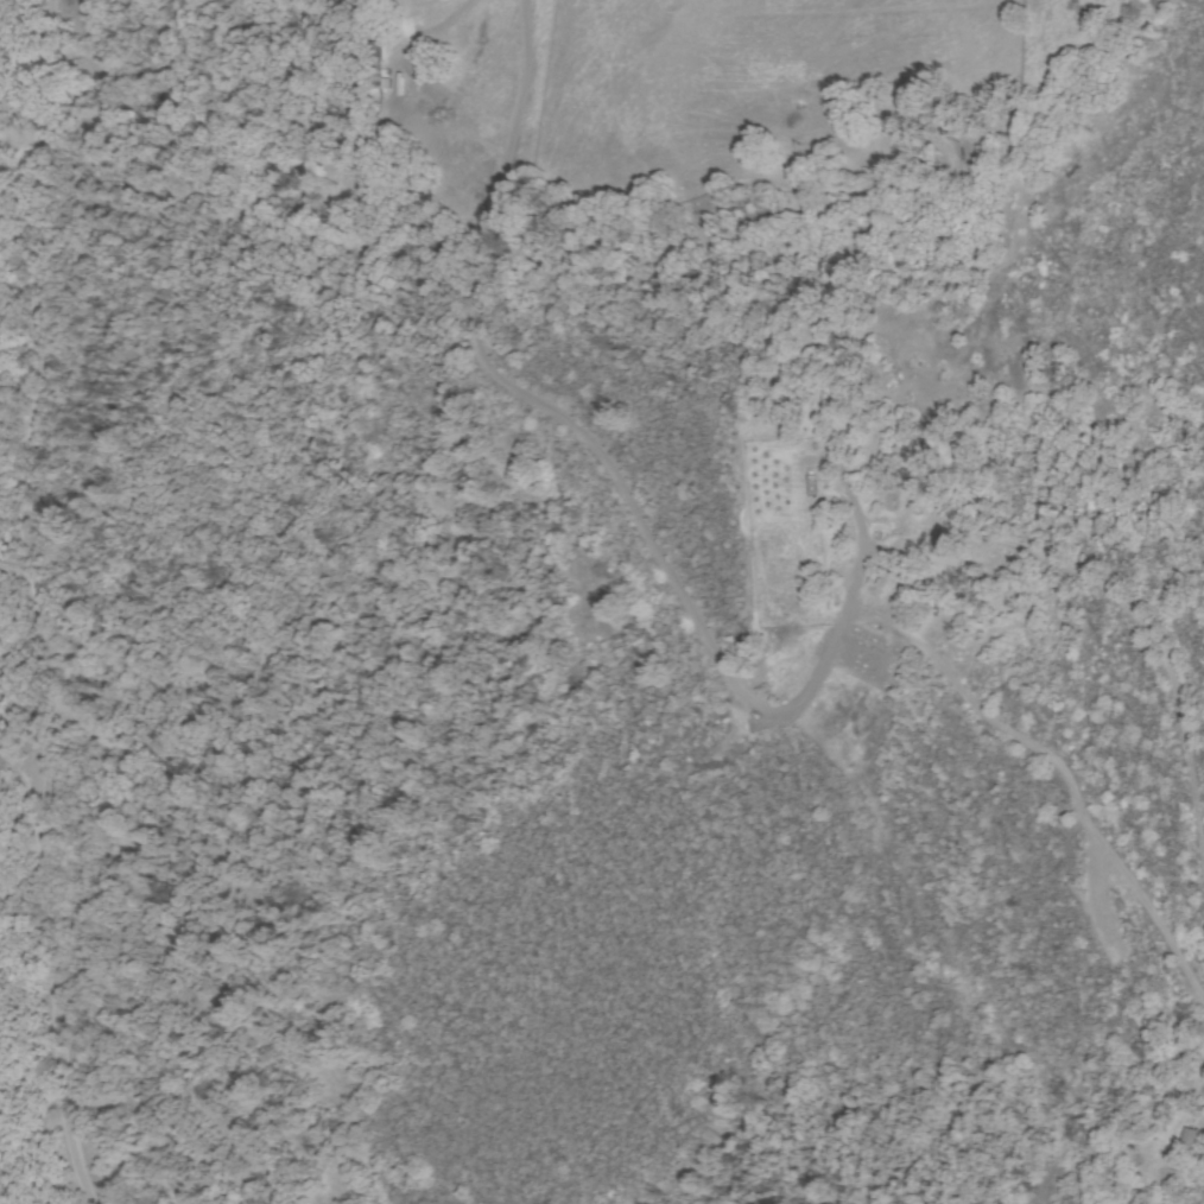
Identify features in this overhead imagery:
road: (26, 604)

